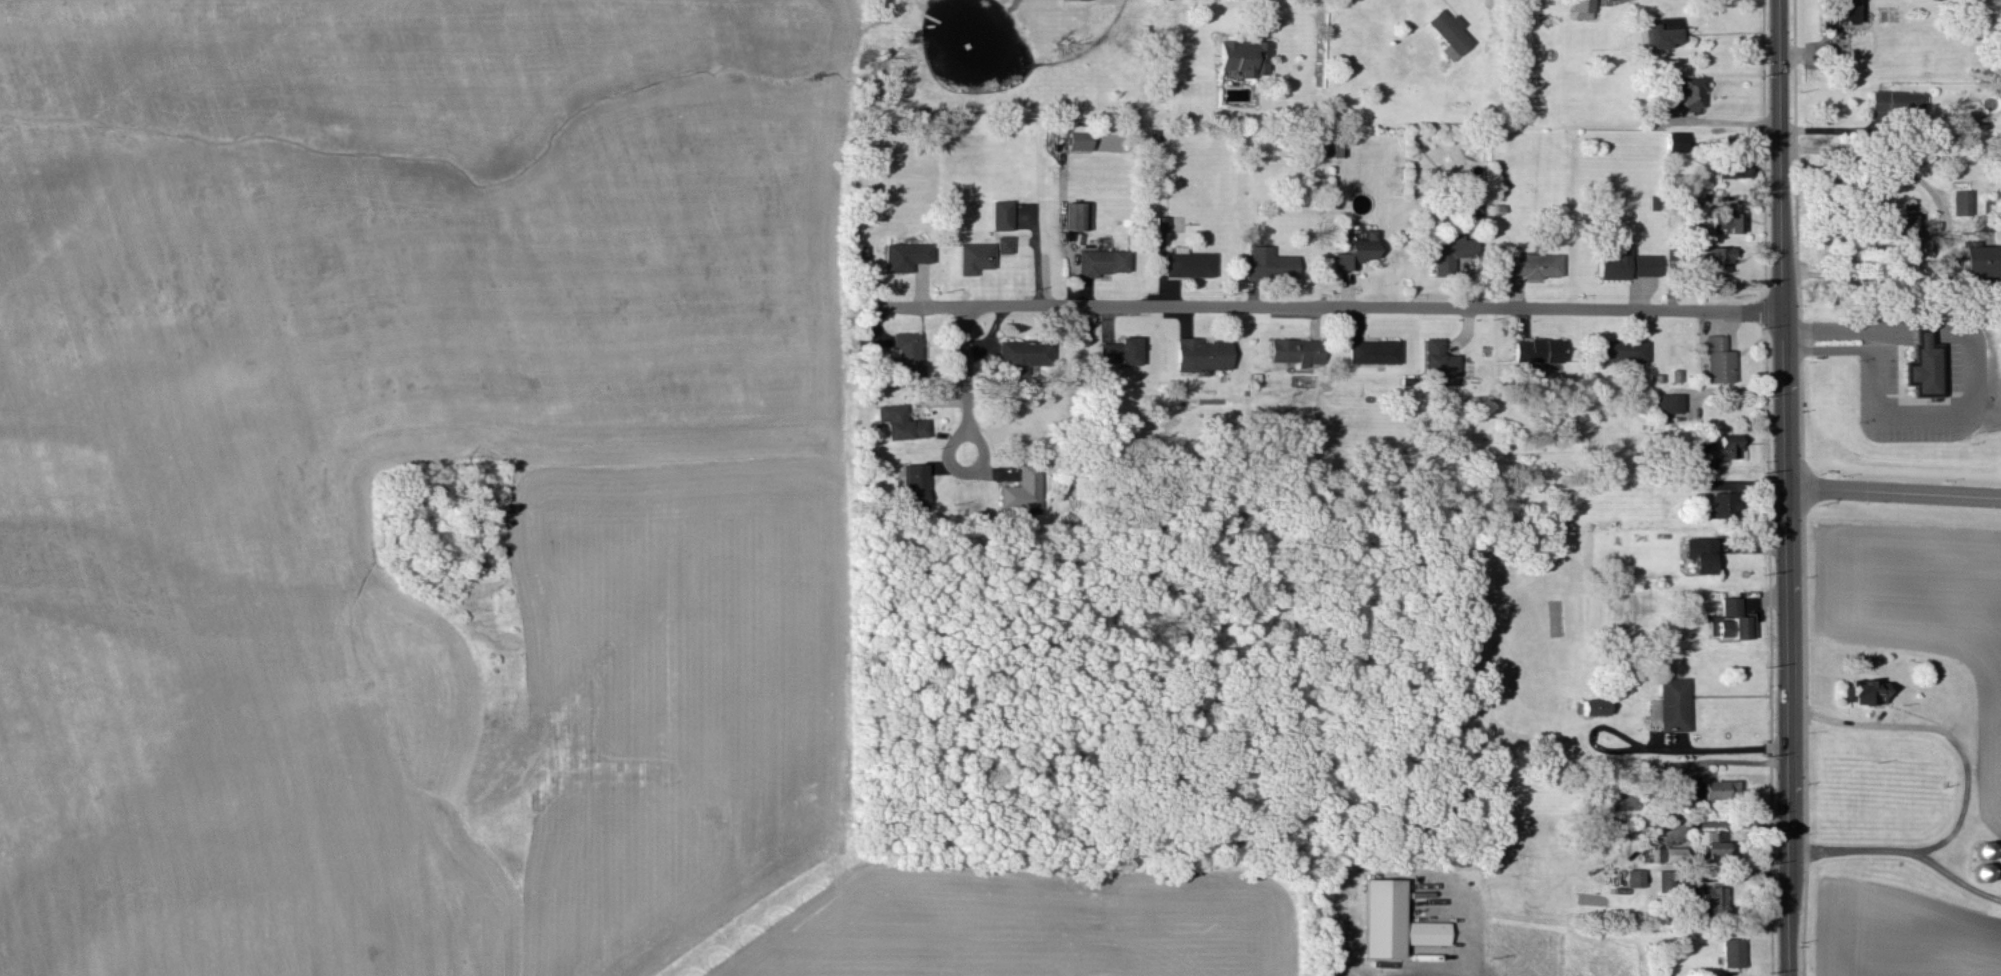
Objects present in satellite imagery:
building: (1076, 1)
building: (1585, 9)
building: (1842, 16)
building: (1665, 35)
building: (1452, 36)
building: (1247, 59)
building: (1689, 95)
building: (1900, 105)
road: (1726, 124)
building: (1081, 141)
building: (1679, 143)
building: (1737, 171)
road: (1782, 175)
building: (1964, 204)
building: (1003, 217)
building: (1082, 218)
road: (1944, 218)
building: (1730, 223)
building: (1164, 225)
building: (1904, 233)
building: (1006, 246)
building: (1452, 252)
building: (907, 258)
building: (977, 259)
building: (1720, 261)
building: (1982, 262)
building: (1104, 264)
building: (1272, 265)
building: (1193, 266)
building: (1632, 266)
building: (1538, 268)
road: (1327, 307)
road: (1830, 351)
building: (1625, 352)
building: (908, 353)
building: (1133, 353)
building: (1301, 353)
building: (1376, 354)
building: (1541, 354)
building: (1027, 355)
building: (1111, 355)
building: (1206, 356)
building: (1442, 361)
road: (1974, 361)
building: (1722, 362)
building: (1926, 368)
road: (966, 376)
building: (1671, 405)
building: (902, 425)
building: (1723, 451)
building: (917, 488)
building: (1025, 491)
road: (1893, 493)
building: (1726, 506)
building: (1704, 556)
road: (1786, 599)
building: (1736, 623)
building: (1870, 692)
building: (1674, 706)
building: (1598, 708)
road: (1724, 738)
road: (1961, 778)
building: (1700, 790)
building: (1724, 790)
building: (1685, 795)
building: (1658, 837)
building: (1712, 837)
building: (1718, 849)
building: (1988, 851)
building: (1675, 856)
building: (1986, 873)
road: (1954, 877)
building: (1637, 879)
building: (1714, 898)
road: (1789, 912)
building: (1397, 922)
building: (1735, 953)
road: (1474, 973)

